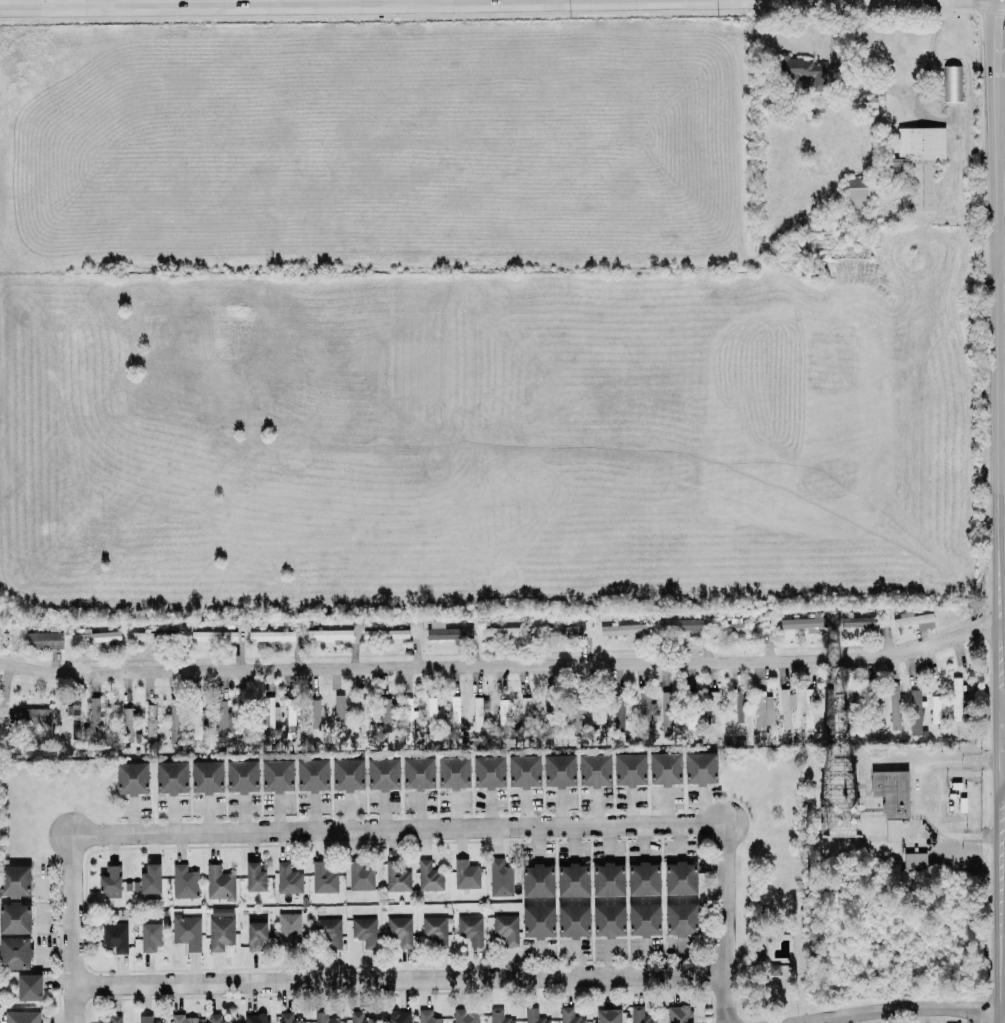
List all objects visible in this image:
road: (238, 2)
building: (805, 72)
building: (952, 84)
building: (921, 162)
building: (856, 193)
road: (1002, 252)
road: (999, 511)
building: (914, 620)
building: (857, 621)
building: (804, 624)
building: (678, 625)
building: (736, 627)
building: (562, 630)
building: (622, 630)
building: (447, 632)
building: (504, 632)
building: (330, 635)
building: (385, 635)
building: (150, 637)
building: (213, 637)
building: (271, 637)
building: (98, 638)
building: (43, 641)
road: (501, 669)
building: (955, 697)
building: (850, 701)
building: (740, 705)
building: (785, 707)
building: (873, 707)
building: (893, 707)
building: (596, 709)
building: (761, 709)
building: (808, 709)
building: (935, 709)
building: (914, 711)
building: (644, 712)
building: (713, 712)
building: (828, 712)
building: (503, 713)
building: (315, 714)
building: (477, 714)
building: (385, 715)
building: (524, 715)
building: (620, 715)
building: (666, 715)
building: (576, 716)
building: (690, 716)
building: (31, 718)
building: (197, 718)
building: (339, 718)
building: (432, 718)
building: (289, 719)
building: (364, 719)
building: (440, 719)
building: (74, 720)
building: (270, 720)
building: (407, 720)
building: (94, 721)
building: (174, 721)
building: (223, 723)
building: (128, 724)
building: (150, 724)
building: (549, 725)
building: (628, 768)
building: (664, 768)
building: (593, 769)
building: (701, 769)
building: (558, 770)
building: (522, 771)
building: (453, 773)
building: (488, 773)
building: (418, 774)
building: (276, 775)
building: (348, 775)
building: (383, 775)
building: (312, 776)
building: (170, 777)
building: (242, 777)
building: (207, 778)
building: (132, 779)
road: (1003, 781)
building: (891, 792)
road: (917, 792)
road: (394, 830)
building: (893, 831)
building: (915, 861)
building: (466, 875)
building: (361, 876)
building: (254, 877)
building: (395, 877)
building: (429, 877)
building: (679, 877)
building: (500, 878)
building: (642, 878)
building: (288, 879)
building: (324, 879)
building: (571, 879)
building: (151, 880)
building: (609, 880)
building: (538, 881)
building: (15, 882)
building: (185, 882)
building: (111, 883)
building: (218, 883)
building: (15, 919)
building: (572, 920)
building: (644, 920)
building: (681, 920)
building: (609, 921)
building: (538, 922)
building: (288, 927)
building: (469, 928)
building: (506, 929)
building: (435, 930)
building: (328, 931)
building: (400, 931)
building: (187, 932)
building: (365, 932)
building: (219, 933)
building: (256, 935)
building: (151, 937)
building: (115, 938)
building: (15, 954)
road: (400, 979)
building: (29, 988)
road: (726, 998)
road: (75, 1004)
road: (901, 1007)
building: (678, 1014)
building: (607, 1015)
building: (639, 1015)
building: (466, 1016)
building: (533, 1016)
building: (569, 1016)
building: (22, 1017)
building: (399, 1017)
building: (427, 1017)
building: (499, 1017)
building: (255, 1018)
building: (288, 1018)
building: (325, 1018)
building: (359, 1018)
building: (109, 1019)
building: (145, 1019)
building: (182, 1019)
building: (216, 1019)

